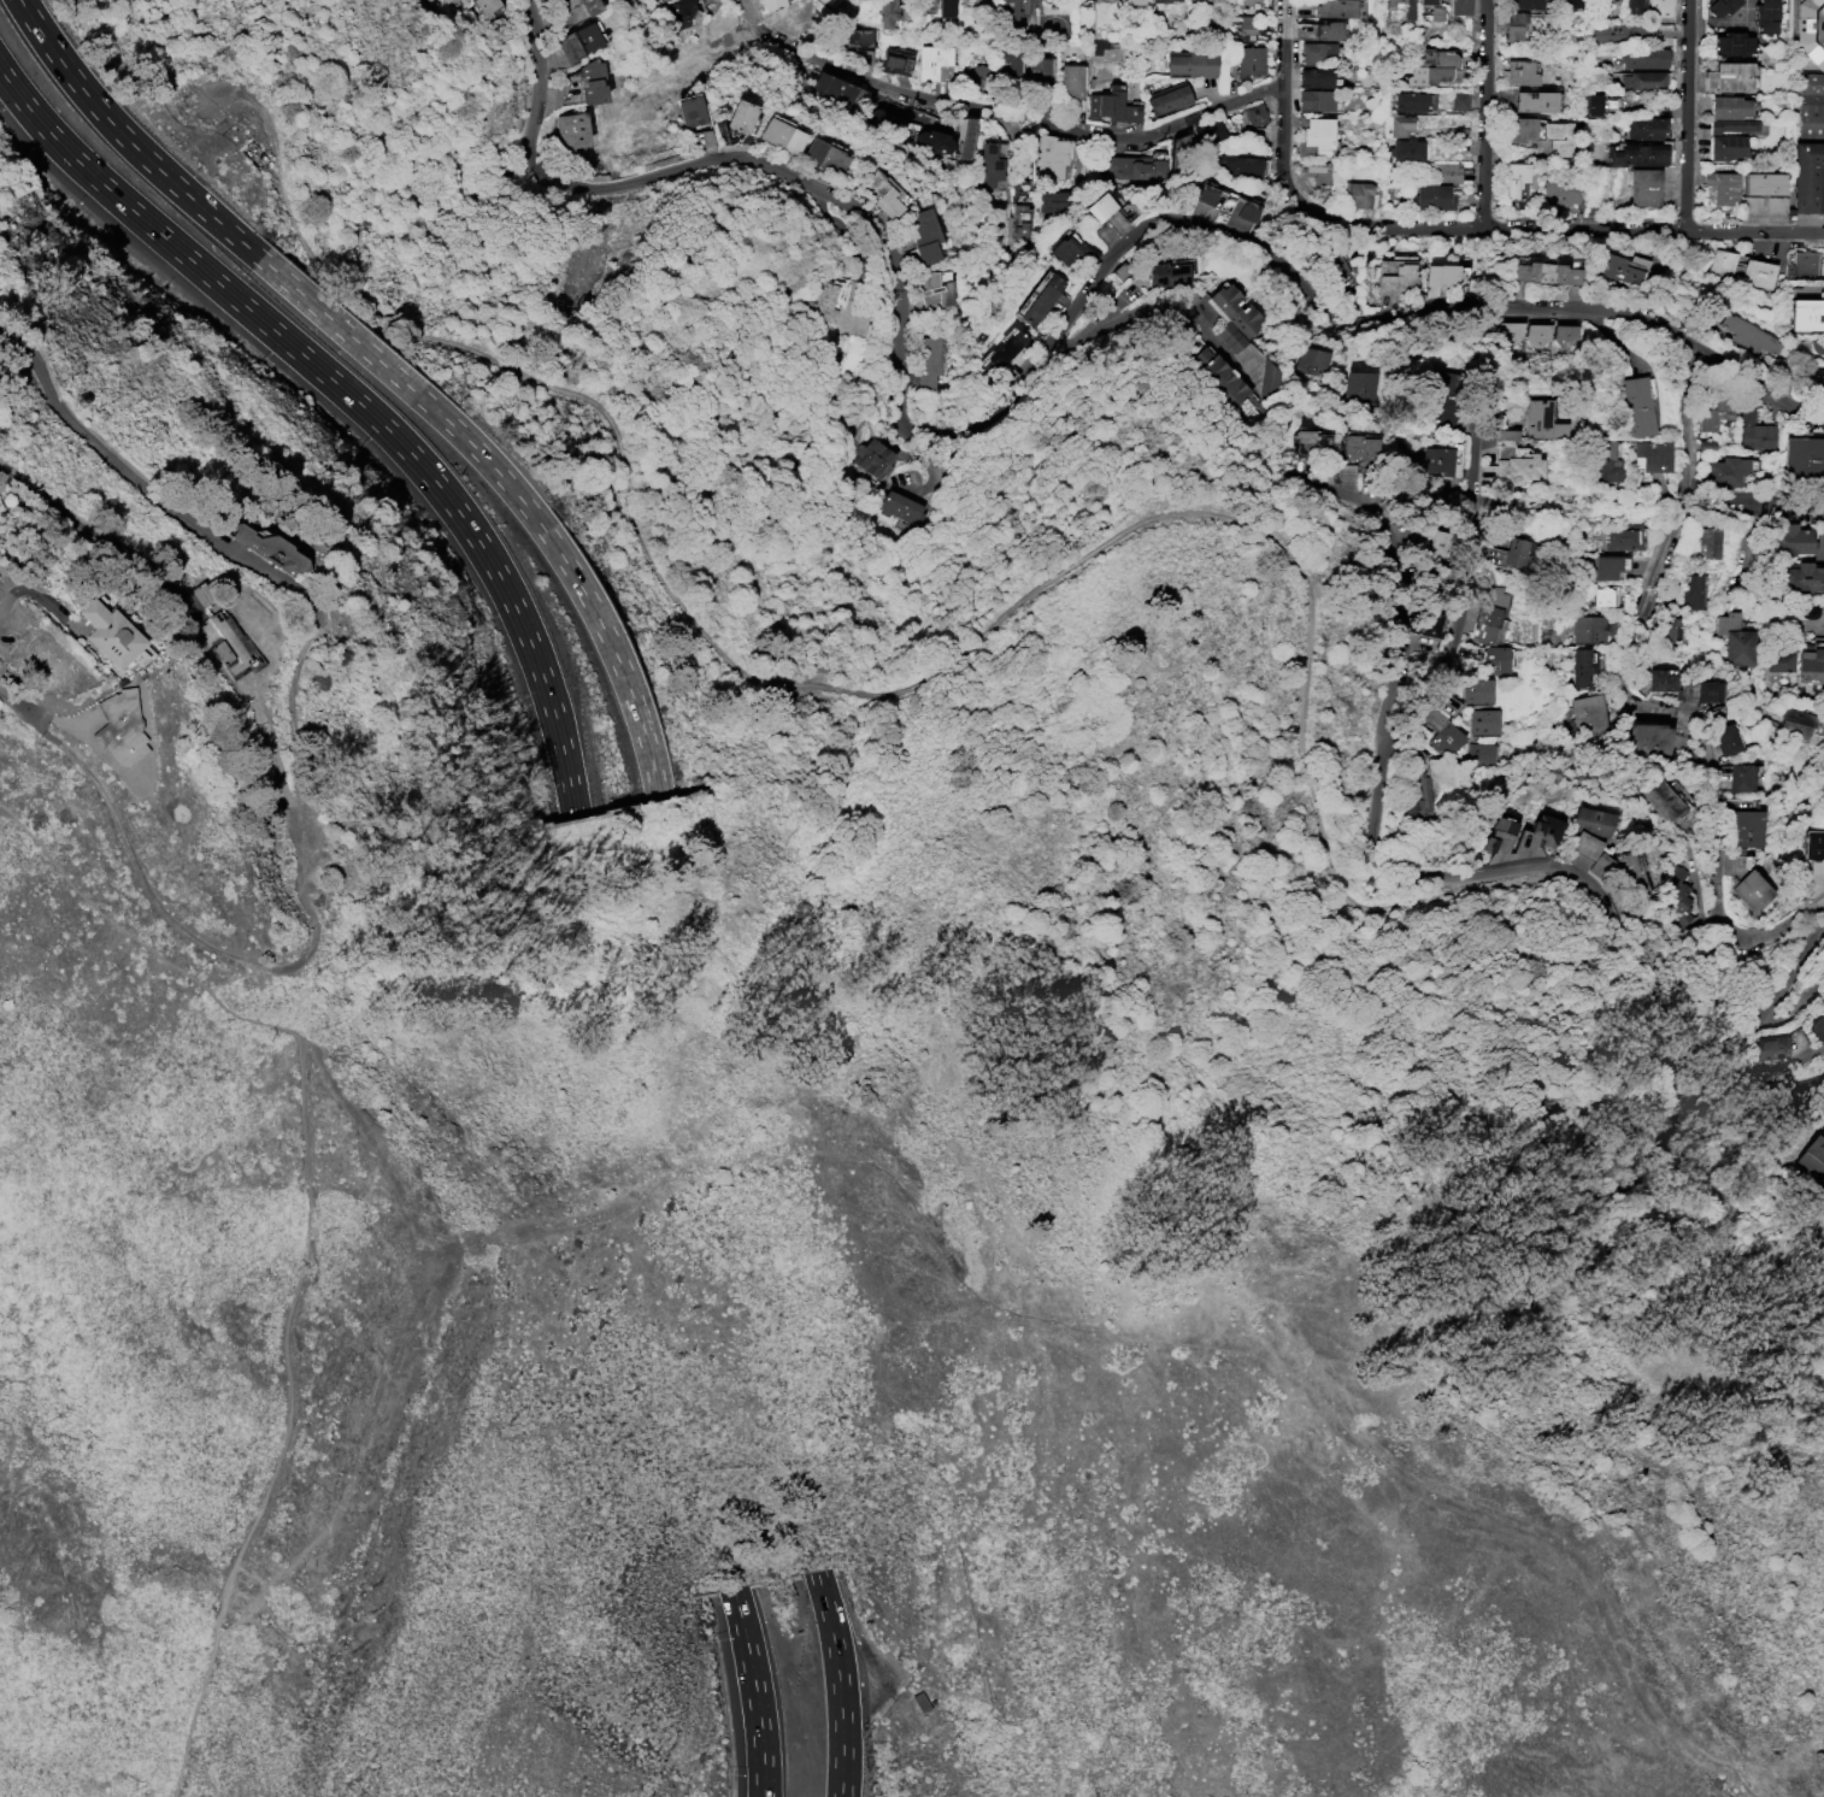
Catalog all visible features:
building: (446, 0)
building: (1171, 0)
building: (926, 1)
building: (1130, 1)
building: (1159, 1)
building: (1085, 2)
building: (1567, 4)
building: (489, 5)
building: (583, 5)
building: (773, 5)
building: (1522, 5)
building: (1634, 5)
building: (1719, 6)
building: (1459, 7)
building: (946, 8)
building: (1334, 8)
building: (1660, 8)
building: (1010, 11)
building: (682, 12)
building: (888, 12)
building: (1407, 12)
building: (1434, 12)
building: (1765, 16)
building: (1513, 24)
building: (1246, 28)
building: (1811, 29)
building: (1326, 30)
building: (1623, 33)
building: (858, 39)
building: (578, 42)
building: (1731, 43)
building: (1316, 52)
building: (1644, 58)
building: (932, 60)
building: (896, 61)
building: (1007, 64)
building: (1249, 64)
building: (1193, 65)
building: (1429, 66)
building: (1038, 72)
building: (1517, 72)
building: (977, 73)
building: (1314, 77)
building: (1731, 78)
building: (1071, 79)
building: (1642, 79)
building: (595, 82)
building: (835, 87)
road: (1281, 90)
road: (1797, 94)
building: (1169, 98)
building: (1314, 99)
building: (1459, 100)
building: (1532, 100)
building: (1408, 101)
building: (1596, 102)
building: (1105, 104)
building: (1811, 104)
building: (1728, 106)
road: (1001, 108)
building: (692, 111)
building: (1130, 112)
building: (1254, 114)
road: (1489, 116)
road: (1684, 116)
building: (746, 117)
building: (1395, 124)
building: (1731, 124)
building: (1644, 126)
building: (1519, 129)
building: (572, 130)
building: (1212, 130)
building: (787, 136)
building: (1314, 136)
building: (1558, 136)
building: (966, 137)
building: (935, 140)
road: (131, 143)
building: (1725, 146)
building: (1406, 151)
building: (1635, 154)
building: (831, 157)
building: (1051, 157)
building: (989, 164)
building: (1237, 165)
building: (1134, 166)
building: (1317, 171)
building: (1447, 172)
building: (1514, 177)
building: (1810, 178)
building: (1761, 182)
building: (1723, 187)
building: (1646, 188)
building: (879, 193)
building: (1558, 193)
building: (1204, 194)
building: (1357, 194)
building: (1431, 196)
building: (1749, 204)
building: (1775, 204)
building: (1099, 206)
building: (1245, 210)
building: (1022, 219)
road: (1544, 231)
building: (922, 234)
building: (1071, 254)
building: (1337, 260)
building: (1722, 263)
building: (1802, 263)
building: (1618, 269)
building: (1547, 272)
building: (1165, 273)
building: (1757, 273)
building: (1395, 276)
building: (1442, 276)
building: (934, 287)
building: (1043, 299)
building: (822, 304)
road: (1155, 304)
building: (1808, 314)
building: (1231, 317)
building: (1510, 331)
building: (1536, 332)
building: (1564, 334)
building: (1748, 334)
building: (1817, 346)
road: (1046, 349)
building: (1004, 350)
building: (1311, 360)
building: (929, 361)
building: (1224, 379)
building: (1359, 383)
building: (1822, 385)
building: (1443, 394)
road: (354, 397)
building: (1642, 407)
building: (1713, 413)
building: (1540, 419)
building: (1754, 430)
building: (1506, 434)
building: (1308, 442)
building: (1706, 444)
building: (1358, 447)
building: (1805, 456)
building: (875, 458)
building: (1655, 458)
building: (1437, 459)
building: (1606, 461)
building: (1517, 467)
building: (1726, 470)
road: (148, 493)
road: (517, 495)
road: (1782, 505)
building: (900, 507)
road: (69, 518)
building: (1626, 536)
building: (1793, 538)
building: (1428, 542)
building: (1708, 543)
building: (271, 549)
building: (1513, 552)
building: (1608, 566)
building: (1807, 576)
building: (1690, 590)
building: (1600, 596)
road: (7, 601)
road: (1465, 614)
building: (1487, 614)
building: (1589, 629)
building: (1670, 629)
building: (112, 632)
building: (1422, 632)
building: (1735, 638)
building: (225, 642)
building: (1494, 659)
building: (1779, 660)
building: (1812, 661)
building: (1583, 667)
road: (914, 679)
building: (1660, 679)
building: (1476, 690)
building: (1706, 691)
building: (1446, 702)
road: (1634, 703)
road: (23, 709)
road: (294, 713)
building: (1589, 714)
building: (1483, 720)
building: (1795, 723)
building: (120, 726)
building: (1446, 738)
building: (1725, 738)
building: (1647, 740)
building: (1481, 753)
building: (1741, 777)
building: (1416, 791)
building: (1666, 802)
building: (1747, 827)
building: (1544, 829)
building: (1588, 829)
building: (1498, 835)
building: (1813, 844)
building: (1600, 864)
road: (1375, 872)
building: (1630, 873)
building: (1679, 894)
building: (1754, 895)
road: (206, 941)
road: (1789, 974)
road: (229, 979)
road: (1795, 1007)
building: (1818, 1023)
building: (1772, 1047)
road: (1765, 1074)
building: (1814, 1159)
road: (305, 1236)
road: (392, 1339)
road: (1572, 1491)
road: (837, 1681)
road: (754, 1690)
road: (1643, 1695)
building: (919, 1701)

